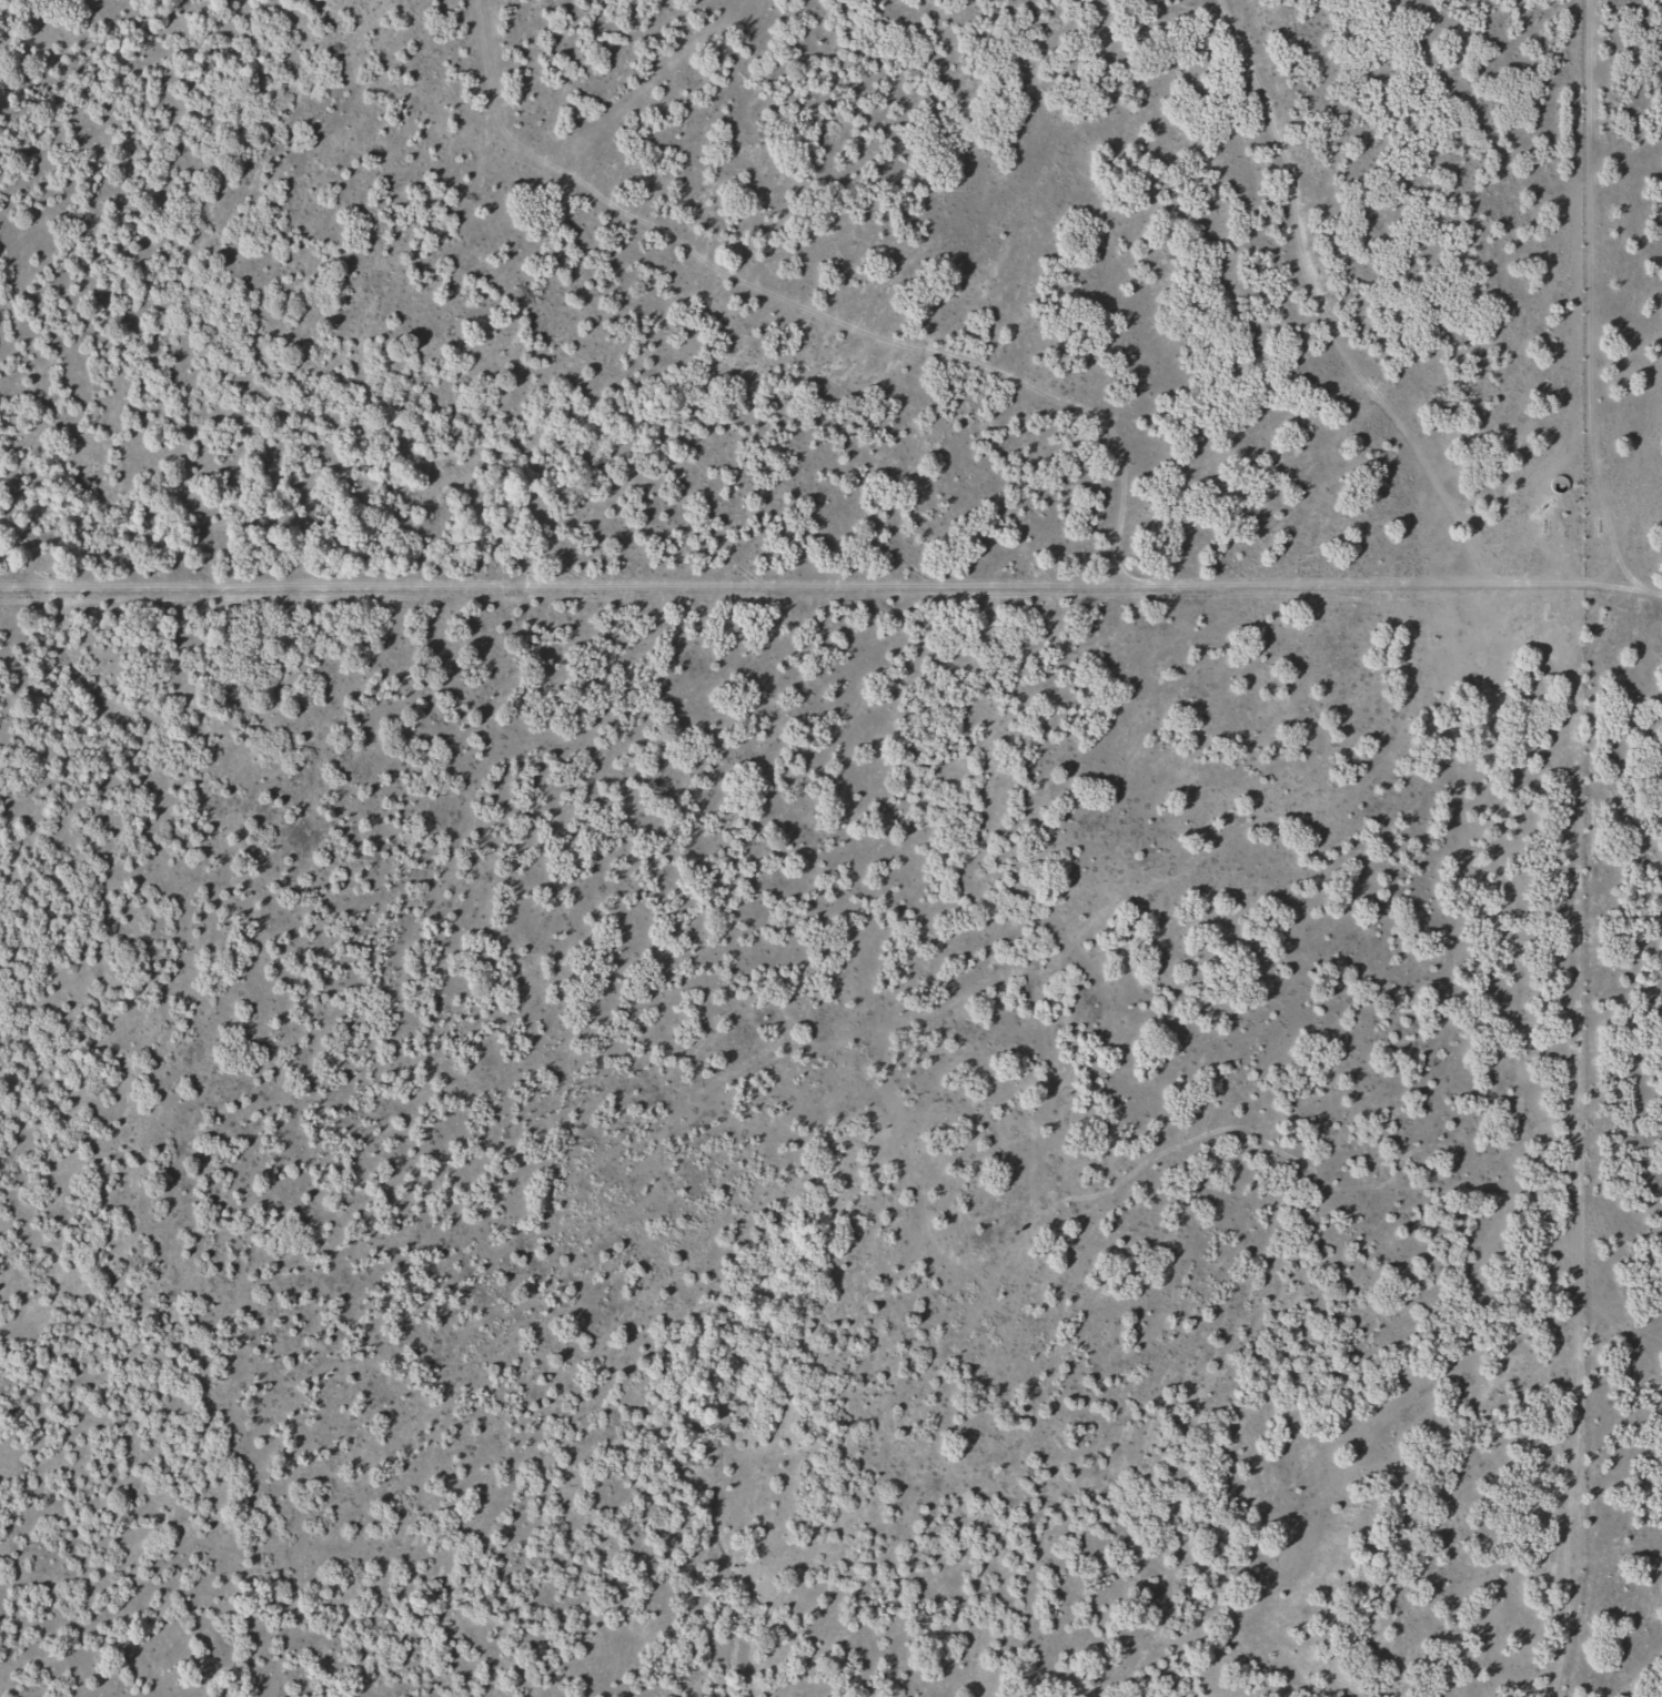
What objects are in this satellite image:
road: (1430, 449)
road: (1601, 592)

